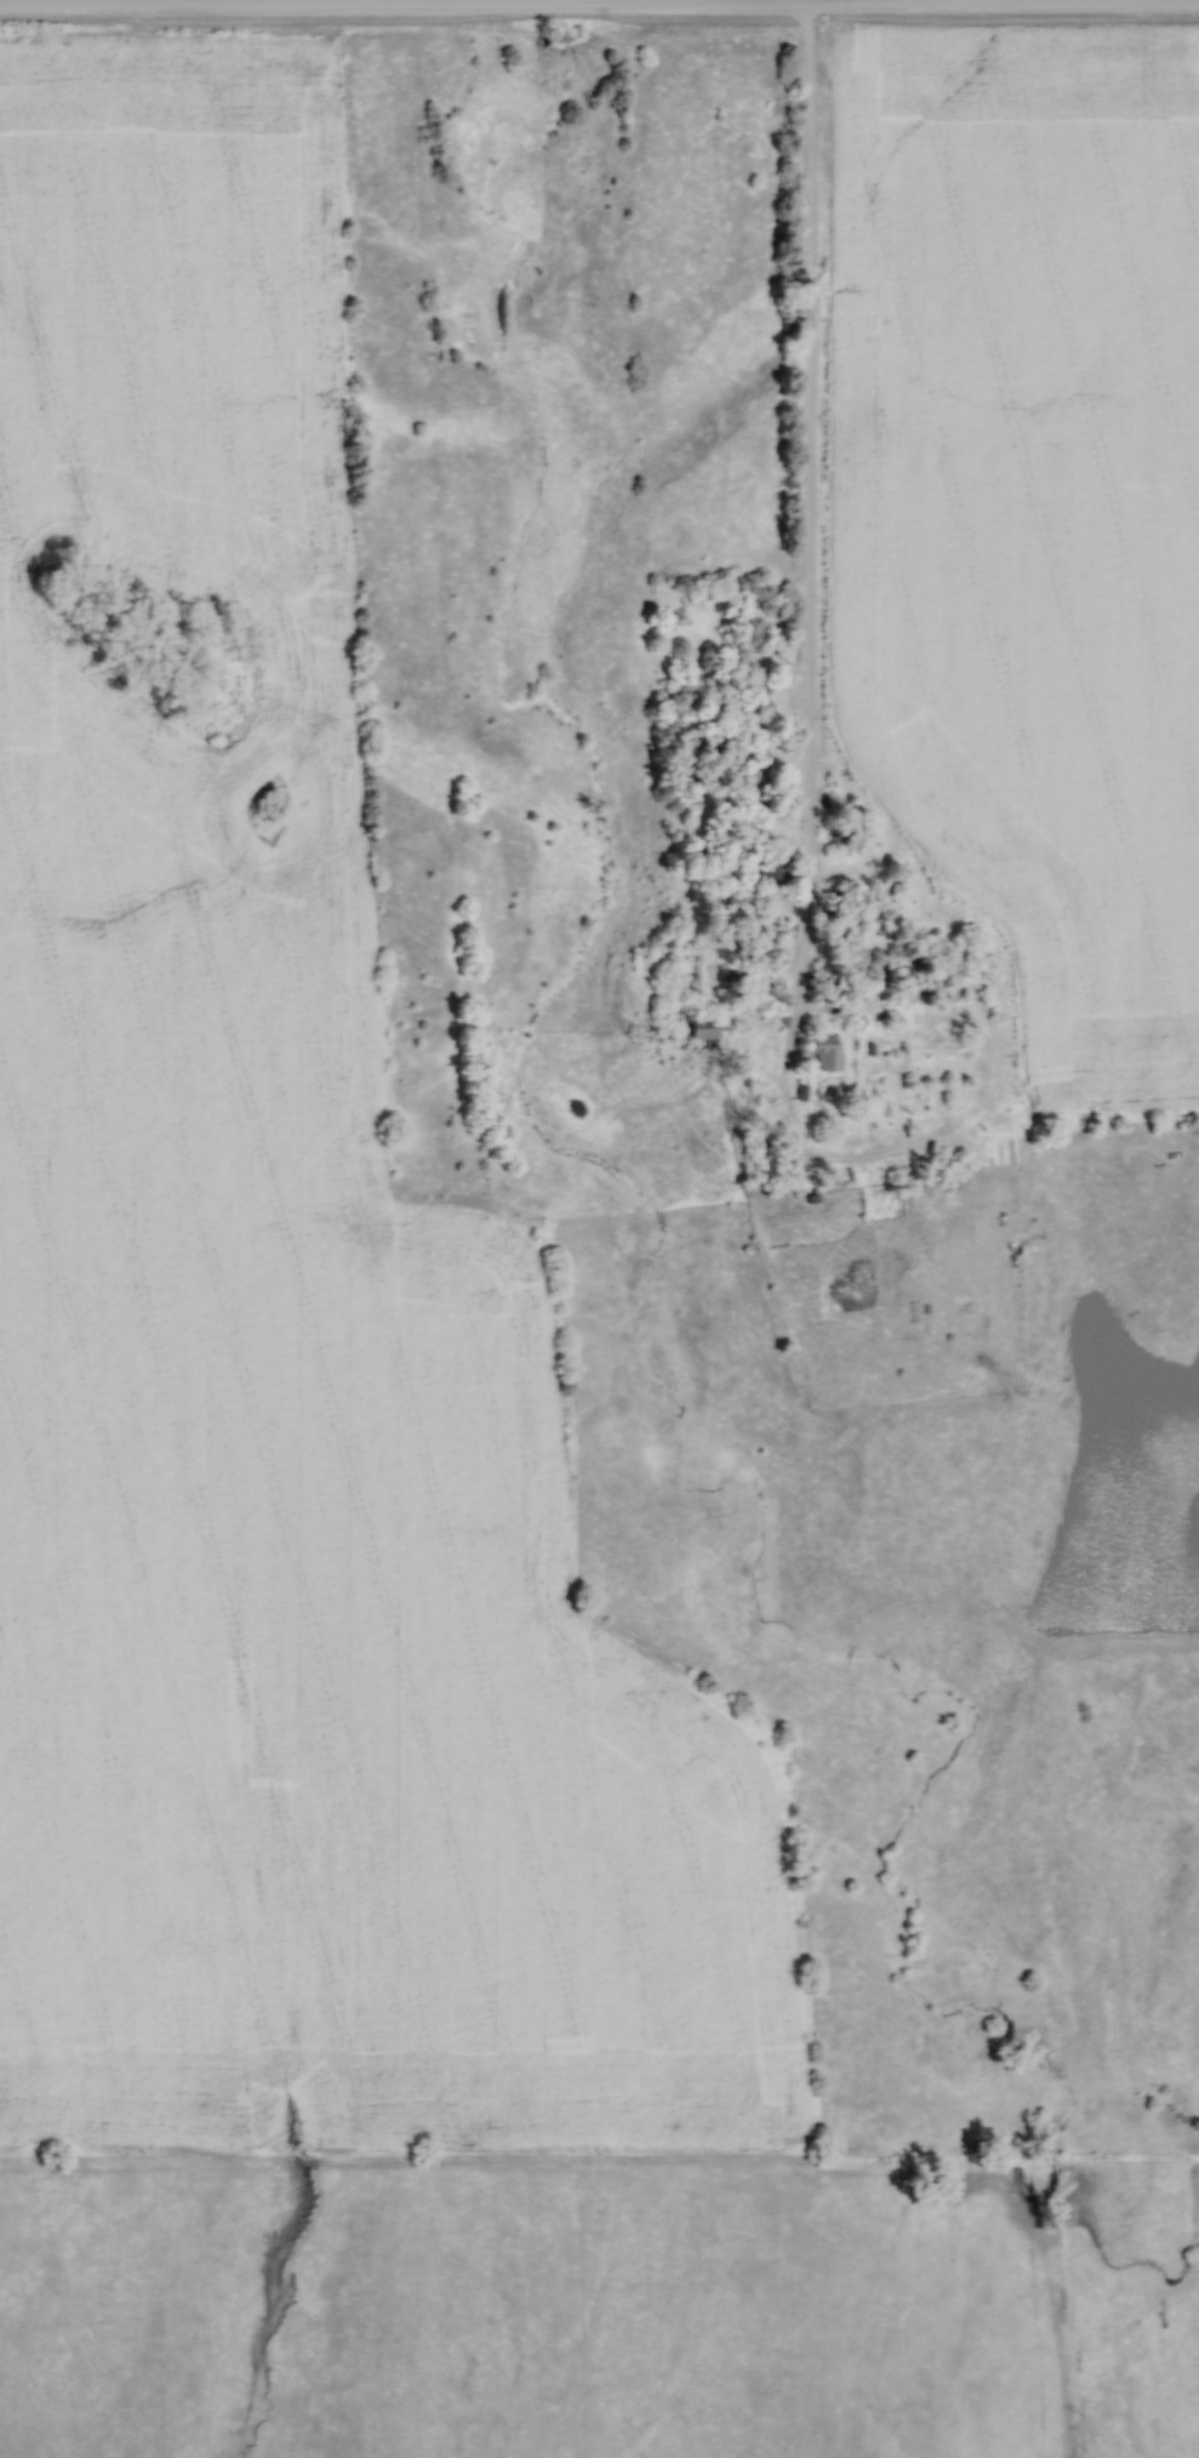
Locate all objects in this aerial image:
road: (599, 4)
road: (804, 509)
building: (847, 843)
building: (708, 1027)
building: (830, 1053)

